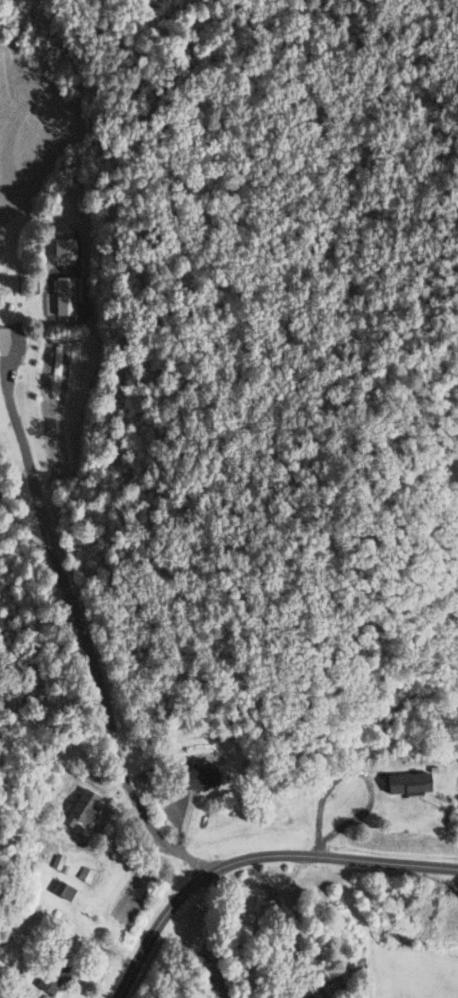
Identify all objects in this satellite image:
building: (64, 295)
road: (76, 621)
building: (201, 776)
building: (407, 782)
building: (82, 807)
road: (249, 856)
building: (63, 890)
building: (268, 915)
building: (56, 970)

